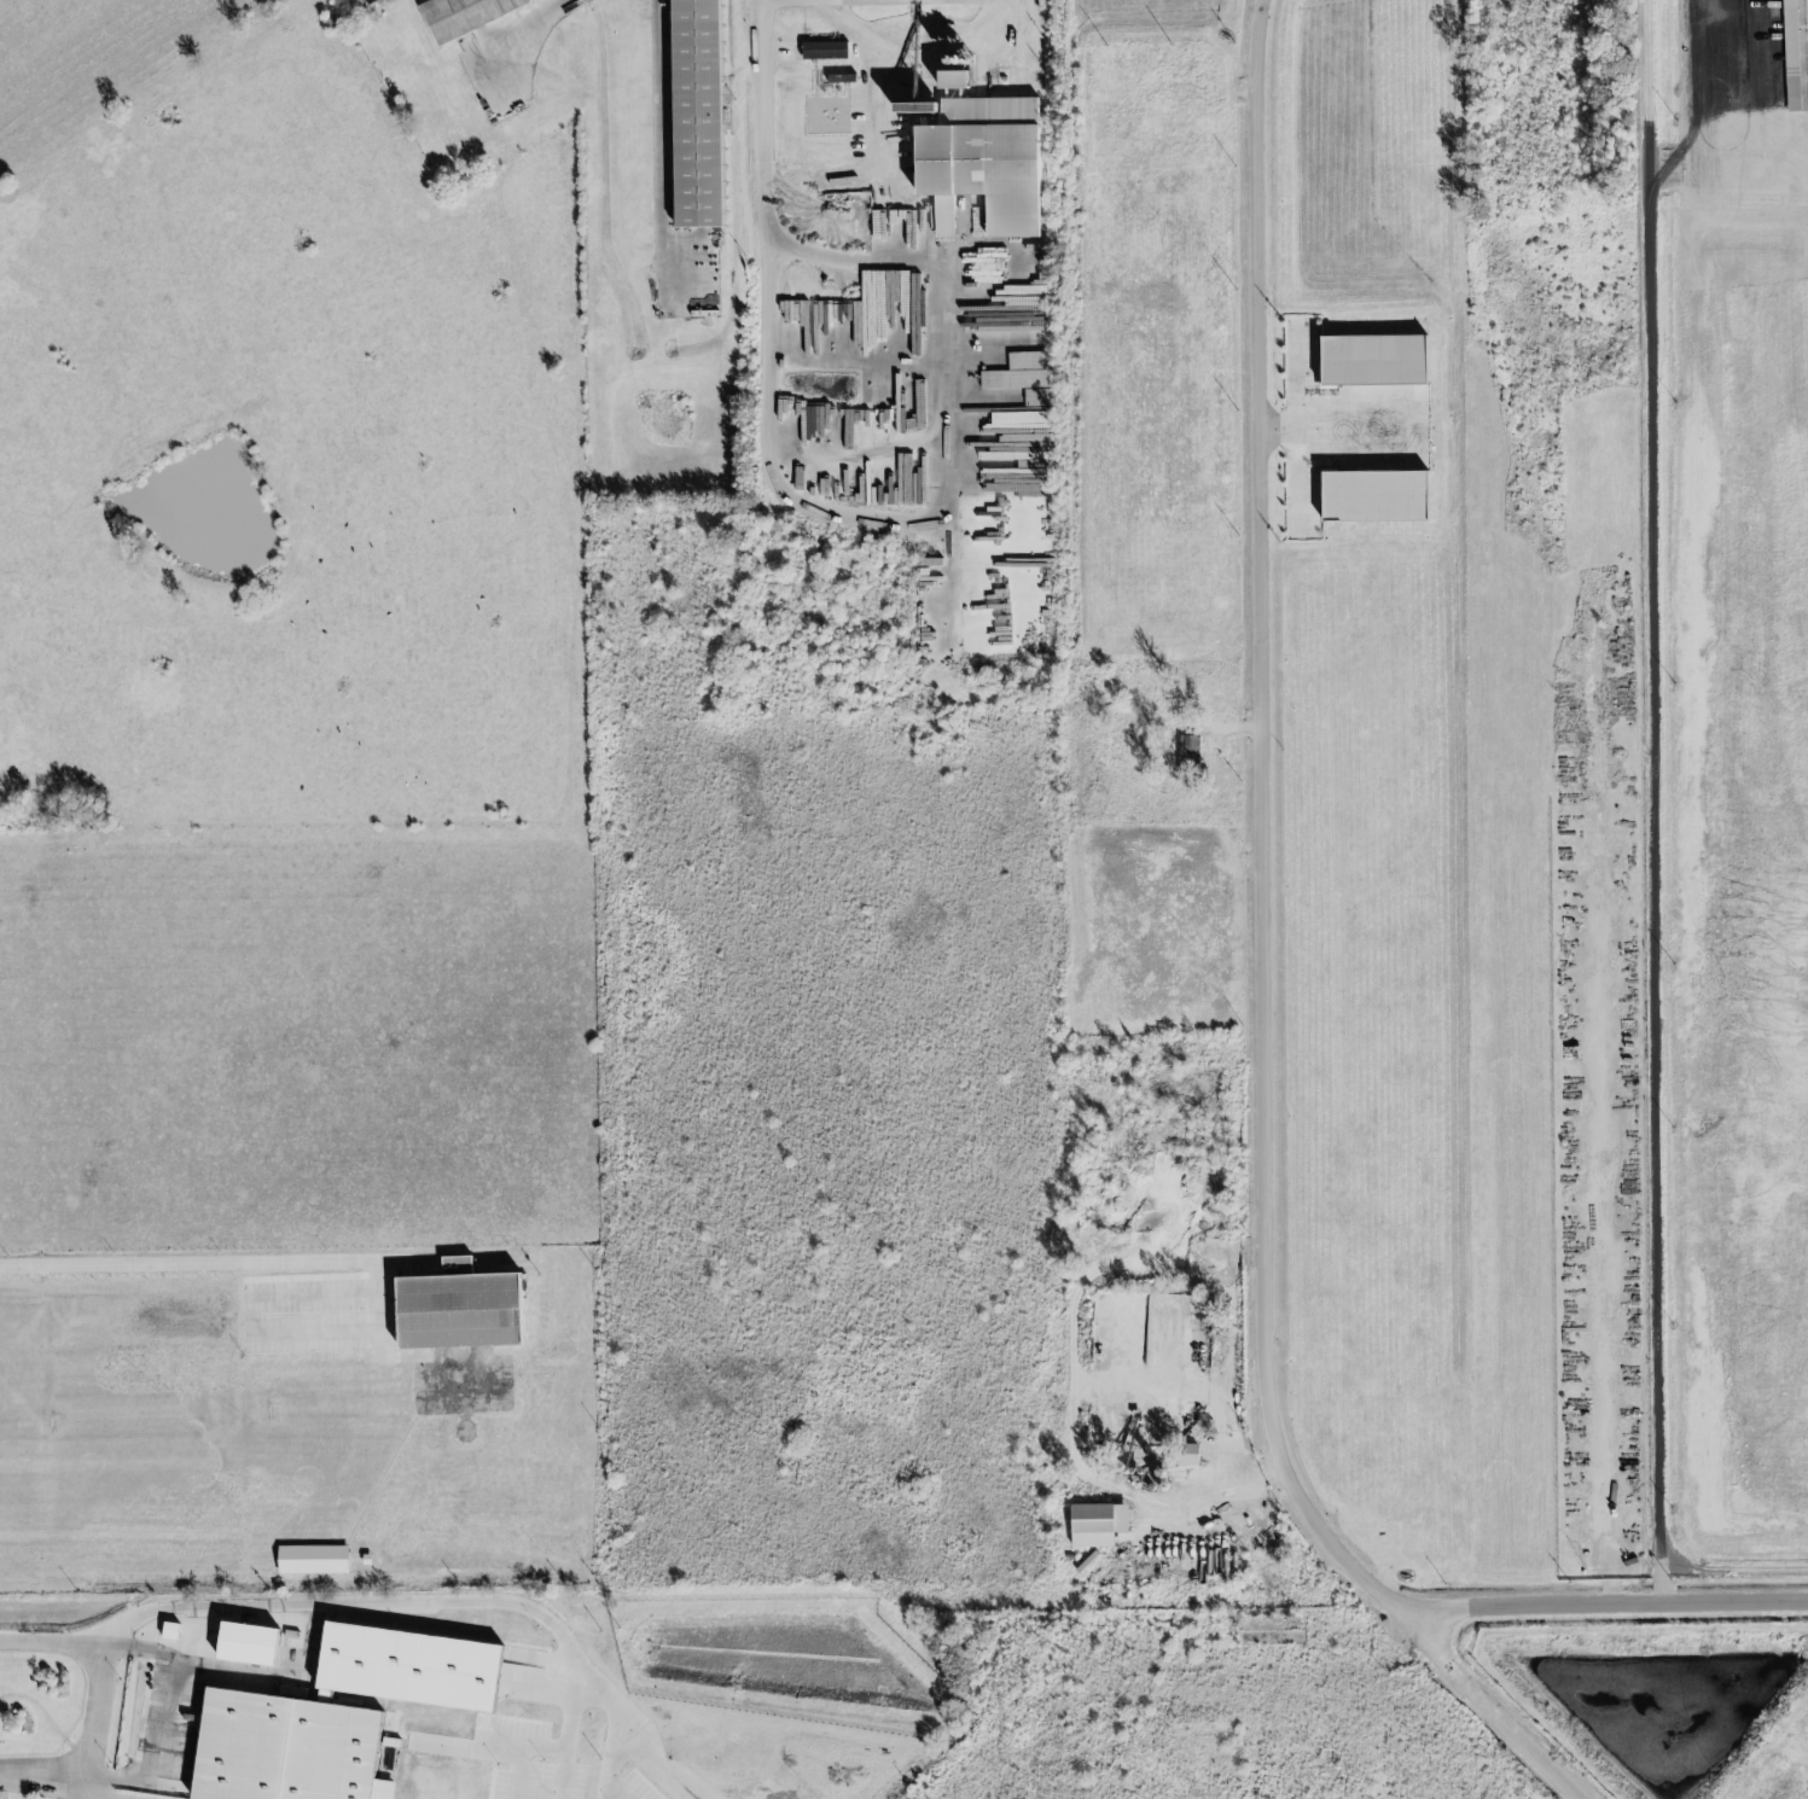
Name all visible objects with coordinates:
building: (1789, 13)
building: (465, 14)
road: (540, 22)
building: (826, 51)
building: (1792, 92)
building: (696, 113)
road: (767, 120)
road: (884, 133)
building: (978, 155)
building: (1373, 361)
road: (1338, 430)
building: (1374, 497)
road: (944, 522)
building: (1188, 753)
road: (1659, 803)
road: (1266, 837)
road: (1733, 927)
road: (1599, 1201)
road: (203, 1267)
road: (1708, 1271)
building: (458, 1308)
building: (1188, 1454)
building: (1097, 1524)
building: (312, 1560)
road: (1609, 1602)
building: (169, 1631)
building: (245, 1644)
road: (127, 1652)
road: (244, 1667)
road: (87, 1671)
road: (1499, 1714)
road: (614, 1734)
road: (569, 1748)
building: (278, 1749)
road: (37, 1772)
road: (4, 1785)
road: (74, 1788)

